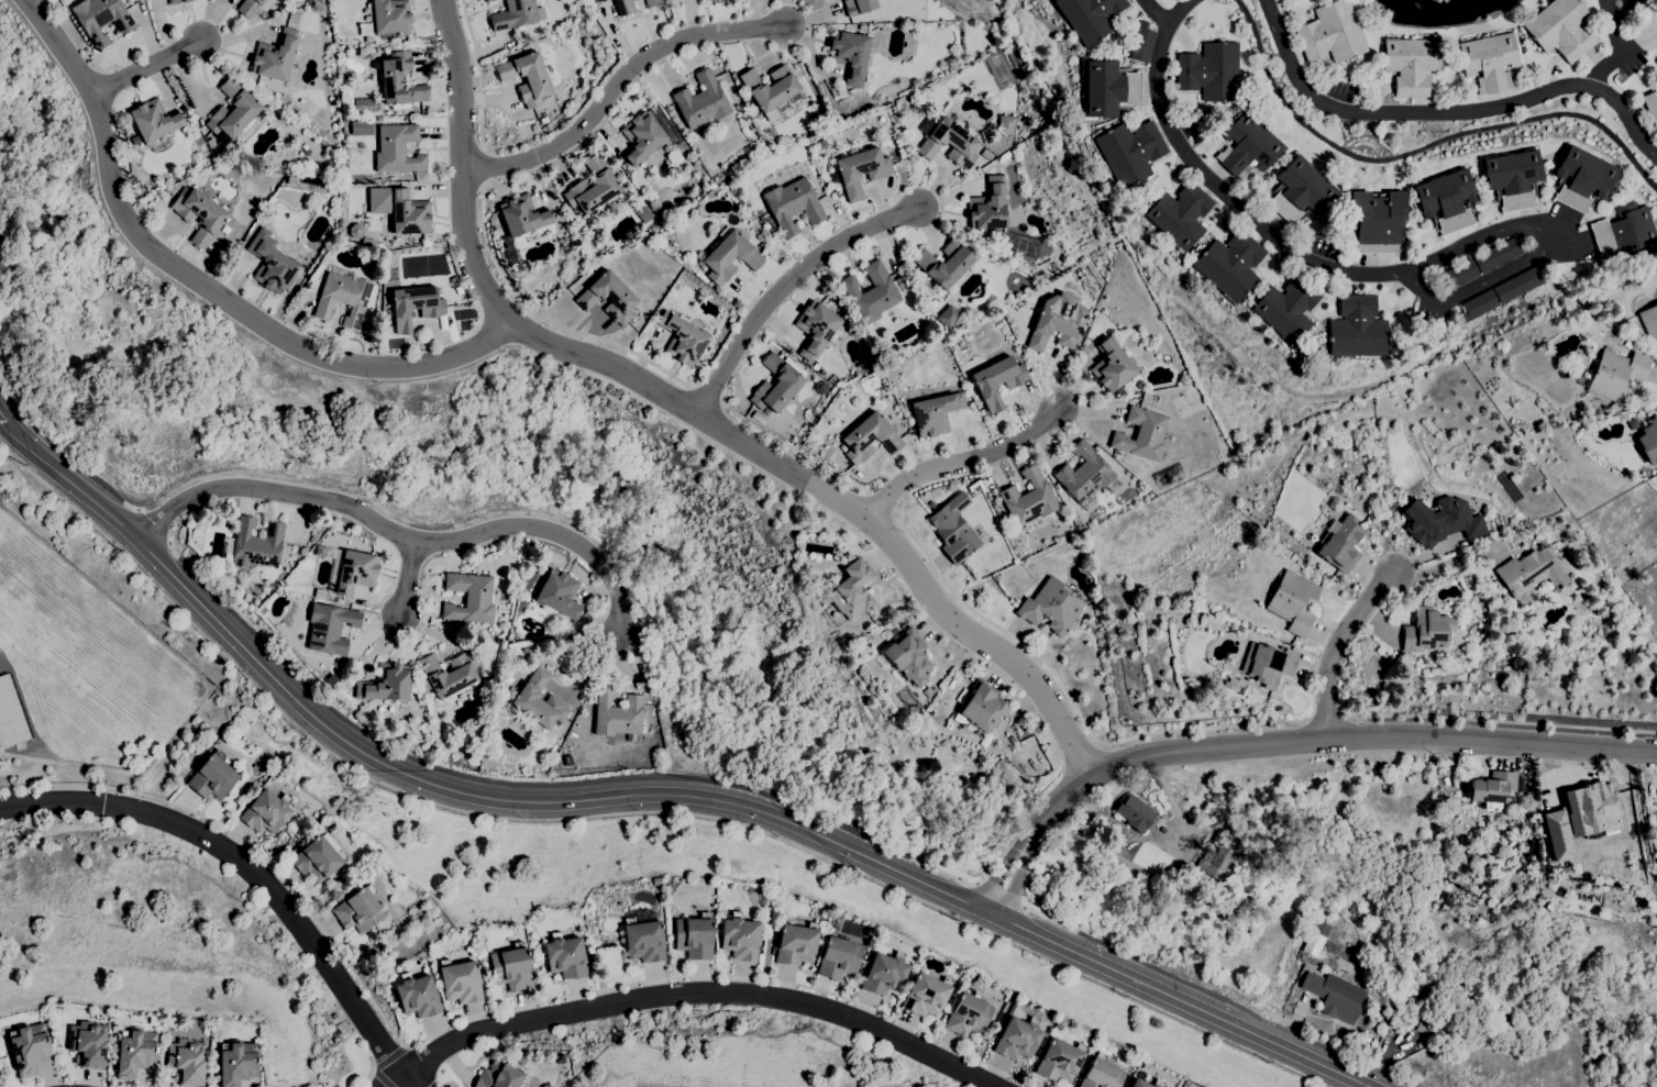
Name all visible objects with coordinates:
building: (489, 0)
building: (176, 1)
building: (652, 2)
building: (1646, 2)
building: (623, 7)
building: (859, 7)
building: (248, 8)
road: (1153, 11)
road: (1175, 11)
building: (515, 14)
building: (935, 14)
building: (387, 16)
building: (1089, 16)
building: (101, 19)
building: (862, 27)
building: (1560, 29)
building: (1330, 33)
building: (307, 40)
building: (1141, 42)
road: (1617, 45)
building: (849, 54)
building: (275, 56)
building: (1489, 60)
building: (1411, 65)
road: (151, 70)
building: (1209, 70)
road: (472, 71)
building: (527, 78)
building: (399, 79)
road: (618, 79)
building: (770, 87)
building: (1108, 89)
building: (835, 91)
building: (702, 101)
building: (946, 106)
building: (1650, 106)
road: (1444, 109)
building: (231, 114)
building: (544, 120)
building: (153, 121)
building: (1005, 124)
building: (360, 127)
building: (894, 135)
building: (641, 136)
building: (1197, 136)
building: (948, 141)
building: (822, 144)
building: (666, 146)
building: (1248, 146)
building: (398, 148)
building: (1129, 151)
building: (306, 152)
building: (986, 154)
building: (672, 157)
road: (477, 167)
building: (626, 170)
building: (861, 170)
building: (1512, 177)
building: (1582, 177)
building: (290, 180)
building: (593, 186)
building: (1300, 190)
building: (305, 191)
road: (1234, 193)
building: (1446, 199)
building: (793, 204)
building: (990, 206)
building: (399, 209)
building: (642, 212)
building: (199, 214)
building: (1180, 215)
building: (520, 219)
building: (1377, 220)
building: (224, 229)
building: (695, 229)
building: (1624, 232)
building: (767, 240)
building: (564, 242)
road: (1546, 247)
building: (1496, 255)
building: (729, 257)
building: (513, 260)
building: (270, 262)
building: (1229, 264)
building: (946, 265)
building: (302, 271)
building: (1460, 274)
building: (903, 282)
building: (1517, 285)
road: (783, 286)
road: (200, 287)
building: (871, 295)
building: (608, 297)
building: (342, 298)
building: (415, 306)
building: (1478, 306)
building: (1286, 309)
building: (948, 315)
road: (540, 319)
building: (719, 320)
building: (1649, 322)
building: (1634, 325)
building: (815, 328)
building: (1054, 328)
building: (1357, 328)
building: (682, 339)
building: (1627, 344)
building: (815, 366)
building: (1112, 366)
building: (820, 371)
building: (893, 374)
building: (1615, 374)
building: (997, 380)
building: (776, 384)
road: (702, 395)
road: (691, 409)
building: (935, 412)
building: (758, 418)
road: (1, 420)
building: (1633, 424)
building: (785, 431)
building: (1141, 434)
building: (870, 437)
building: (1648, 440)
building: (842, 447)
road: (795, 448)
building: (1096, 448)
road: (65, 455)
road: (965, 459)
building: (1084, 473)
building: (975, 489)
building: (1028, 497)
road: (879, 501)
building: (932, 506)
building: (225, 520)
building: (1439, 520)
road: (155, 523)
building: (953, 529)
building: (1025, 530)
building: (1340, 543)
road: (405, 544)
building: (254, 547)
road: (1451, 561)
building: (349, 569)
building: (1321, 569)
building: (1529, 572)
road: (411, 585)
building: (1492, 585)
building: (852, 590)
building: (559, 594)
building: (247, 597)
building: (470, 598)
building: (267, 600)
building: (1293, 601)
building: (1051, 607)
building: (1191, 617)
building: (582, 625)
building: (330, 628)
building: (1501, 629)
building: (1426, 630)
road: (1338, 643)
building: (526, 648)
building: (908, 656)
building: (1268, 664)
building: (448, 674)
building: (386, 684)
building: (1230, 685)
building: (328, 686)
building: (516, 686)
building: (928, 691)
building: (461, 696)
building: (539, 701)
road: (1074, 706)
building: (983, 707)
building: (389, 709)
building: (617, 713)
building: (10, 714)
road: (1327, 717)
road: (1501, 721)
building: (948, 725)
road: (1283, 742)
road: (1080, 755)
road: (607, 776)
building: (212, 777)
building: (1492, 786)
road: (647, 799)
building: (266, 811)
building: (1135, 813)
building: (1580, 817)
building: (1435, 830)
building: (318, 859)
building: (1218, 861)
road: (253, 869)
road: (996, 889)
building: (358, 910)
building: (694, 936)
building: (740, 938)
building: (643, 940)
building: (796, 944)
building: (1313, 944)
building: (565, 956)
building: (839, 957)
building: (511, 967)
building: (884, 974)
building: (460, 980)
road: (697, 992)
building: (926, 995)
building: (417, 996)
road: (1215, 996)
building: (1332, 997)
building: (969, 1013)
building: (334, 1016)
road: (468, 1016)
building: (153, 1020)
building: (174, 1023)
building: (1423, 1027)
building: (1017, 1038)
building: (88, 1043)
building: (29, 1049)
building: (135, 1050)
road: (386, 1056)
building: (187, 1061)
building: (1060, 1061)
building: (237, 1062)
road: (369, 1066)
building: (1102, 1074)
building: (499, 1076)
road: (378, 1078)
road: (389, 1078)
building: (1136, 1079)

